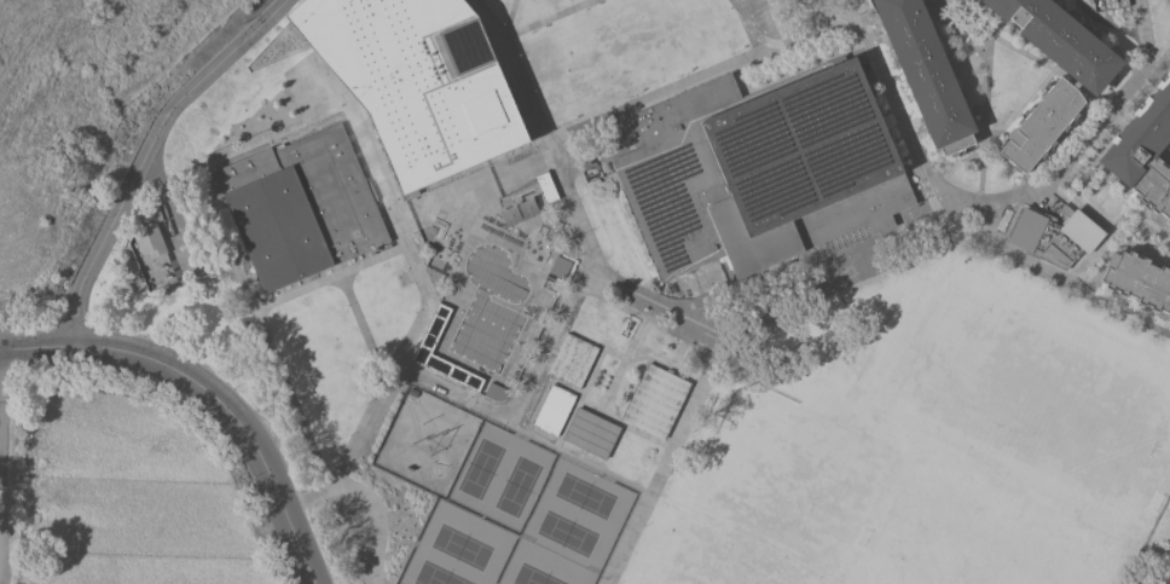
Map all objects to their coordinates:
building: (933, 0)
road: (758, 2)
road: (937, 5)
building: (1107, 5)
road: (755, 6)
road: (842, 10)
road: (851, 10)
street lamp: (586, 11)
road: (789, 17)
street lamp: (1133, 17)
road: (485, 18)
road: (506, 18)
road: (757, 19)
road: (995, 19)
road: (538, 21)
road: (950, 22)
road: (1112, 27)
street lamp: (940, 29)
street lamp: (532, 33)
road: (801, 40)
street lamp: (958, 41)
street lamp: (1026, 51)
street lamp: (975, 54)
road: (1024, 54)
street lamp: (730, 56)
road: (1157, 62)
street lamp: (1133, 70)
building: (925, 74)
street lamp: (677, 77)
building: (412, 83)
building: (1061, 87)
street lamp: (626, 97)
road: (636, 102)
road: (1027, 102)
road: (1108, 116)
road: (896, 118)
road: (984, 121)
street lamp: (562, 123)
road: (996, 132)
road: (1082, 145)
building: (1143, 149)
road: (1166, 151)
road: (612, 152)
road: (145, 154)
street lamp: (1090, 169)
building: (760, 170)
road: (913, 172)
road: (925, 173)
street lamp: (1016, 185)
street lamp: (1107, 185)
building: (545, 187)
street lamp: (975, 192)
street lamp: (579, 197)
street lamp: (1123, 197)
building: (301, 206)
building: (521, 209)
road: (1133, 209)
road: (167, 210)
street lamp: (1140, 210)
road: (1117, 213)
road: (984, 221)
street lamp: (592, 230)
building: (1054, 235)
building: (150, 241)
road: (1104, 243)
road: (228, 251)
street lamp: (990, 258)
street lamp: (606, 259)
building: (560, 267)
road: (329, 277)
road: (828, 278)
building: (1137, 279)
street lamp: (630, 282)
road: (574, 285)
street lamp: (1059, 290)
crop: (12, 301)
road: (428, 302)
road: (1116, 308)
building: (1169, 316)
road: (644, 318)
street lamp: (1120, 319)
road: (361, 326)
building: (431, 331)
street lamp: (670, 337)
street lamp: (689, 345)
road: (549, 351)
road: (613, 354)
road: (676, 354)
road: (647, 357)
building: (570, 360)
road: (644, 360)
road: (620, 365)
street lamp: (94, 371)
road: (685, 376)
street lamp: (146, 382)
road: (208, 393)
building: (496, 393)
road: (578, 398)
building: (654, 400)
park: (1049, 405)
building: (552, 410)
street lamp: (207, 421)
road: (622, 424)
building: (589, 433)
road: (580, 455)
road: (572, 457)
road: (661, 467)
street lamp: (250, 480)
park: (497, 502)
park: (772, 505)
road: (376, 519)
street lamp: (314, 533)
park: (944, 542)
stadium: (1154, 553)

